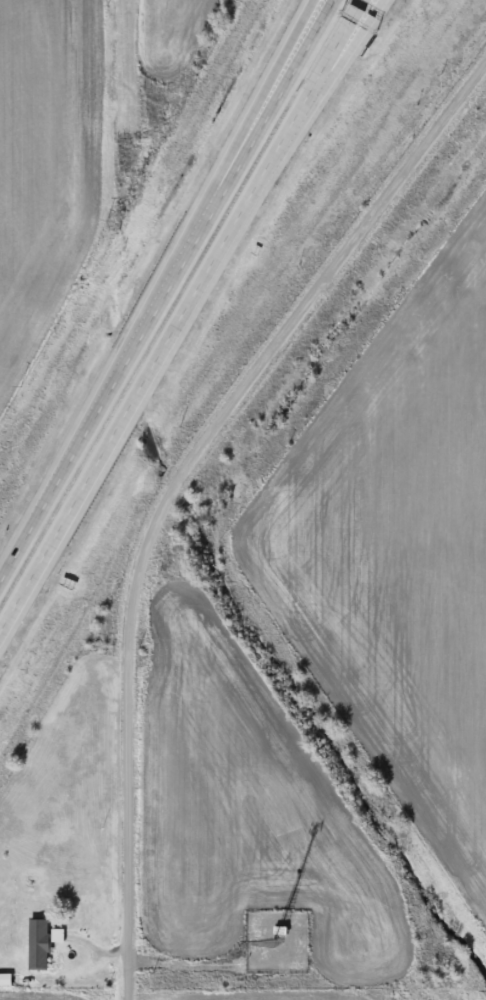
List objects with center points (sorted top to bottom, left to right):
road: (343, 31)
road: (349, 31)
road: (269, 92)
road: (278, 92)
road: (162, 347)
road: (112, 381)
road: (167, 484)
building: (60, 930)
building: (57, 937)
building: (40, 938)
building: (7, 975)
building: (4, 981)

